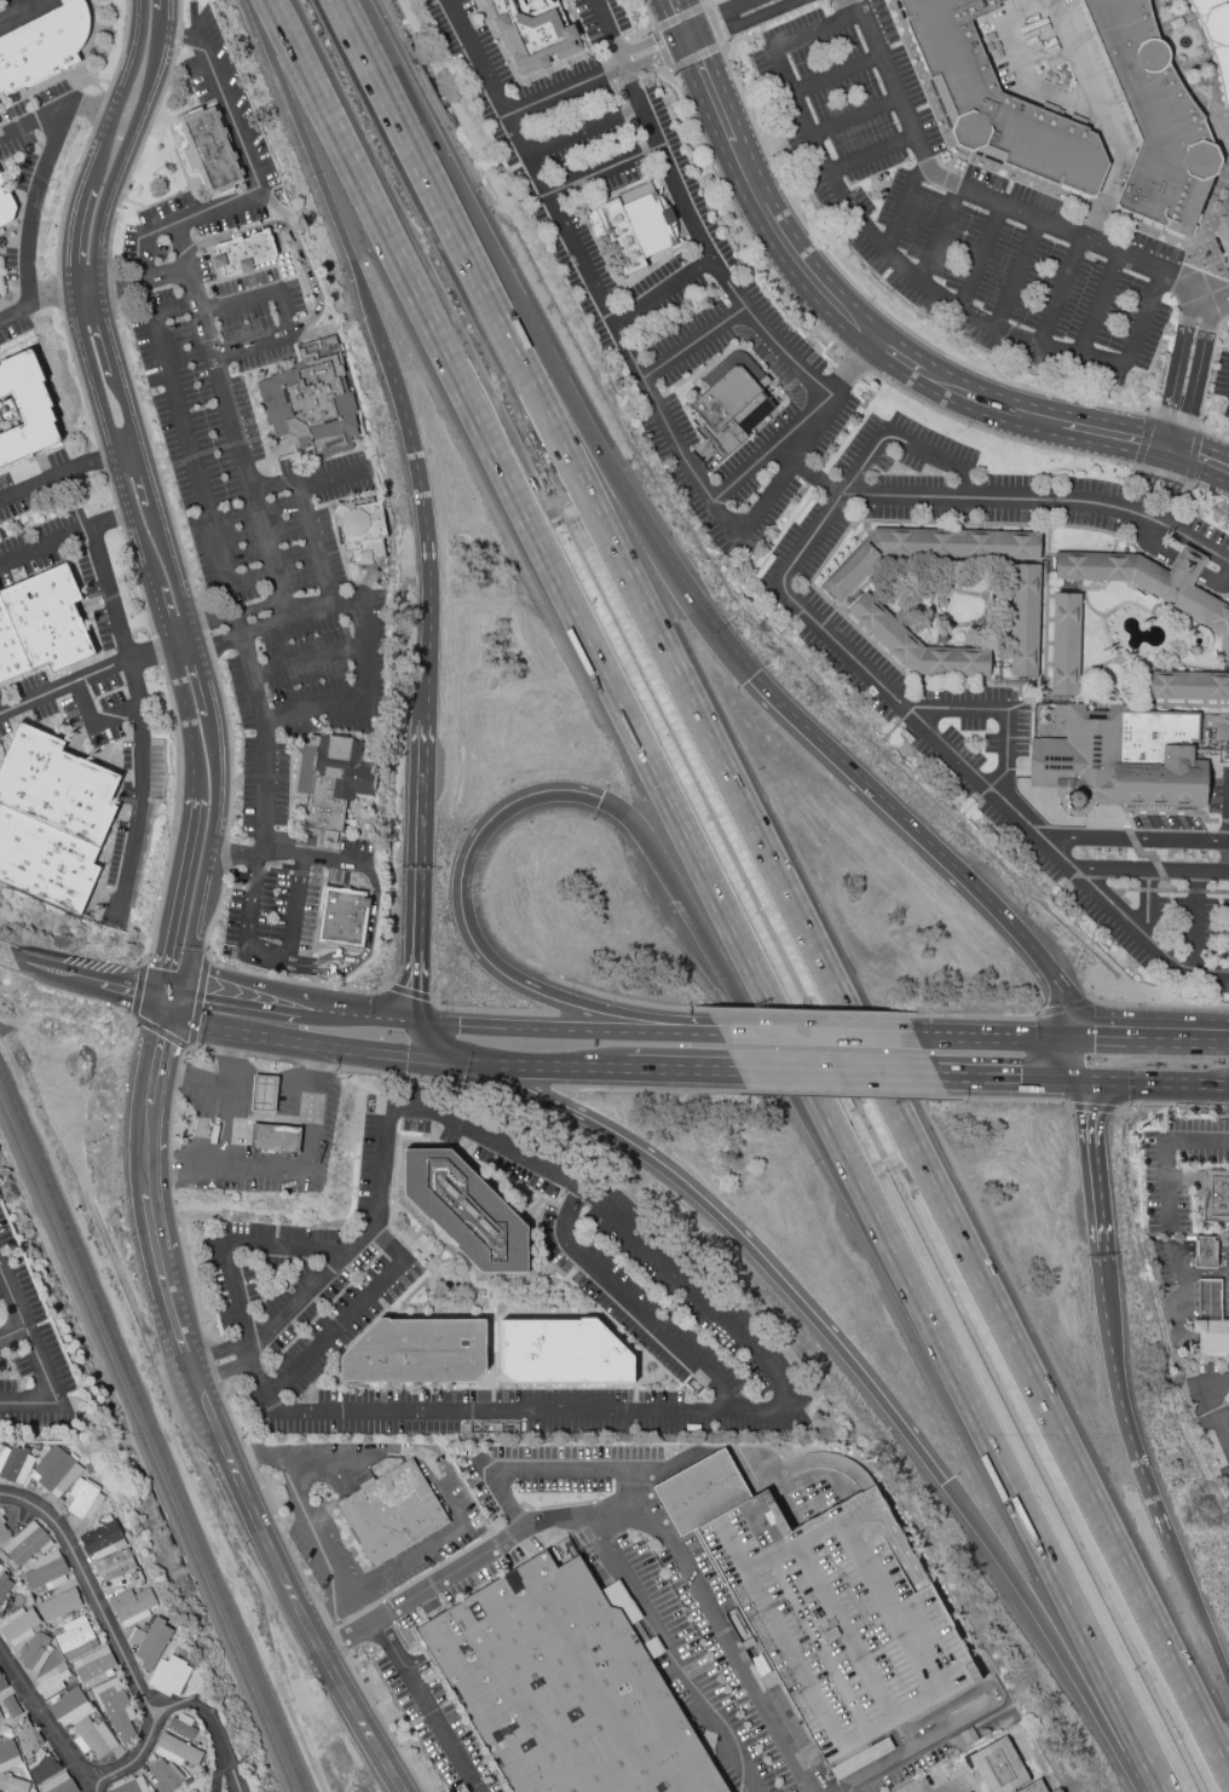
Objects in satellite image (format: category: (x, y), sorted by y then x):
parking lot: (711, 0)
road: (711, 4)
road: (706, 5)
road: (737, 5)
road: (17, 7)
road: (24, 12)
road: (767, 16)
road: (279, 19)
road: (1066, 24)
road: (652, 28)
traffic signals: (681, 29)
road: (675, 30)
road: (610, 33)
building: (1217, 35)
building: (533, 36)
road: (180, 38)
fountain: (1183, 42)
building: (44, 47)
traffic signals: (689, 48)
road: (682, 51)
road: (478, 58)
road: (627, 58)
road: (150, 64)
road: (629, 68)
parking lot: (1058, 69)
road: (837, 74)
road: (1196, 74)
road: (565, 91)
building: (997, 100)
road: (85, 113)
road: (856, 116)
building: (1155, 119)
road: (31, 121)
road: (583, 129)
road: (175, 144)
building: (210, 150)
road: (137, 152)
road: (435, 152)
road: (873, 154)
road: (602, 172)
road: (334, 189)
road: (173, 195)
road: (254, 195)
road: (904, 202)
road: (993, 202)
road: (36, 203)
road: (132, 203)
building: (6, 204)
parking lot: (954, 209)
road: (737, 214)
road: (1208, 227)
building: (631, 230)
road: (290, 232)
road: (939, 235)
building: (1224, 236)
road: (704, 252)
building: (243, 253)
road: (980, 258)
road: (898, 264)
road: (254, 270)
road: (1016, 275)
road: (142, 283)
road: (657, 283)
road: (108, 286)
road: (1060, 292)
road: (62, 294)
road: (1098, 304)
road: (841, 306)
road: (876, 306)
parking lot: (197, 307)
road: (15, 312)
road: (287, 315)
road: (810, 334)
road: (694, 342)
road: (1181, 351)
road: (1202, 357)
road: (856, 359)
road: (221, 362)
road: (855, 363)
parking lot: (1222, 380)
road: (1206, 386)
building: (312, 401)
building: (25, 409)
building: (729, 411)
road: (1177, 420)
road: (232, 422)
road: (1162, 434)
road: (1144, 439)
road: (1183, 440)
road: (215, 448)
road: (679, 448)
road: (771, 448)
road: (1045, 448)
road: (265, 450)
road: (187, 451)
road: (1169, 454)
road: (781, 455)
road: (1194, 455)
traffic signals: (1178, 457)
road: (104, 460)
road: (155, 460)
road: (1155, 461)
road: (1204, 466)
road: (1175, 467)
road: (165, 471)
road: (331, 479)
road: (36, 484)
road: (273, 485)
road: (1143, 491)
road: (296, 492)
road: (627, 496)
road: (123, 497)
road: (1164, 500)
road: (109, 520)
road: (425, 526)
building: (360, 530)
road: (313, 543)
road: (45, 546)
building: (928, 552)
road: (827, 558)
road: (171, 561)
building: (1152, 582)
road: (109, 593)
road: (789, 595)
road: (1221, 595)
road: (1046, 604)
road: (235, 613)
road: (299, 617)
building: (1026, 621)
road: (1167, 622)
building: (41, 624)
road: (206, 636)
road: (215, 643)
building: (918, 645)
building: (1067, 645)
road: (161, 650)
road: (359, 652)
road: (1115, 658)
road: (305, 661)
road: (223, 678)
traffic signals: (750, 678)
road: (133, 682)
road: (1032, 682)
road: (1019, 684)
road: (63, 685)
building: (1187, 686)
parking lot: (940, 701)
road: (1155, 702)
road: (1003, 709)
road: (310, 710)
road: (93, 722)
road: (229, 751)
building: (1123, 760)
road: (1040, 764)
road: (235, 778)
building: (329, 780)
parking lot: (265, 785)
traffic signals: (601, 797)
road: (264, 806)
road: (1166, 812)
road: (137, 813)
road: (1121, 817)
building: (52, 819)
road: (1074, 820)
road: (1219, 820)
road: (175, 822)
road: (420, 835)
road: (1131, 839)
road: (1135, 839)
road: (925, 847)
road: (233, 852)
road: (1147, 854)
road: (313, 855)
road: (221, 859)
road: (273, 869)
road: (1150, 870)
road: (1159, 871)
road: (785, 885)
road: (227, 886)
road: (1167, 886)
road: (1125, 889)
road: (1147, 891)
road: (1172, 892)
road: (1196, 892)
road: (1217, 893)
road: (1147, 904)
road: (1198, 907)
road: (295, 909)
road: (731, 915)
building: (344, 918)
parking lot: (1225, 928)
road: (473, 943)
road: (368, 949)
road: (8, 956)
road: (722, 967)
road: (56, 969)
road: (334, 970)
road: (255, 973)
road: (411, 985)
road: (134, 991)
road: (542, 991)
road: (410, 992)
traffic signals: (175, 1001)
road: (624, 1001)
road: (237, 1004)
road: (1066, 1007)
road: (1156, 1007)
road: (481, 1010)
road: (804, 1014)
road: (353, 1015)
road: (132, 1018)
road: (975, 1018)
traffic signals: (408, 1021)
road: (247, 1025)
road: (554, 1026)
road: (710, 1030)
road: (15, 1031)
road: (818, 1033)
road: (991, 1037)
traffic signals: (1066, 1038)
road: (426, 1041)
road: (1147, 1041)
road: (175, 1042)
road: (194, 1048)
road: (227, 1051)
road: (382, 1054)
road: (1066, 1056)
road: (272, 1058)
traffic signals: (444, 1061)
road: (533, 1064)
road: (317, 1065)
road: (680, 1067)
road: (837, 1071)
road: (1002, 1074)
road: (178, 1076)
traffic signals: (1066, 1076)
road: (1103, 1077)
road: (1185, 1081)
road: (449, 1083)
road: (651, 1089)
building: (262, 1090)
gas station: (262, 1090)
road: (227, 1093)
road: (848, 1094)
road: (1010, 1100)
road: (1172, 1104)
road: (1094, 1107)
road: (265, 1114)
road: (172, 1119)
parking lot: (304, 1122)
building: (275, 1137)
road: (1165, 1152)
road: (1092, 1158)
road: (255, 1166)
road: (169, 1168)
parking lot: (1178, 1169)
building: (1212, 1192)
building: (466, 1210)
road: (731, 1226)
road: (1205, 1249)
road: (1223, 1250)
building: (1205, 1251)
parking lot: (1164, 1264)
road: (186, 1268)
road: (1184, 1274)
road: (689, 1287)
building: (1208, 1300)
road: (295, 1303)
road: (634, 1306)
road: (350, 1310)
road: (11, 1331)
building: (1211, 1336)
road: (27, 1337)
road: (218, 1352)
building: (417, 1352)
building: (562, 1353)
parking lot: (29, 1354)
road: (212, 1365)
road: (225, 1372)
road: (1117, 1391)
road: (28, 1404)
road: (1218, 1405)
parking lot: (1212, 1410)
road: (212, 1414)
road: (230, 1414)
railway: (152, 1431)
railway: (146, 1445)
road: (248, 1458)
building: (15, 1464)
building: (56, 1471)
road: (601, 1471)
traffic signals: (947, 1482)
building: (702, 1493)
building: (82, 1499)
road: (619, 1504)
road: (968, 1510)
building: (391, 1511)
building: (4, 1532)
building: (102, 1538)
road: (283, 1538)
building: (24, 1545)
road: (412, 1557)
building: (114, 1565)
building: (1, 1566)
building: (46, 1572)
building: (4, 1584)
building: (58, 1604)
building: (131, 1606)
road: (1196, 1606)
road: (327, 1611)
road: (322, 1618)
building: (841, 1618)
parking garage: (841, 1618)
road: (657, 1619)
building: (18, 1625)
road: (330, 1632)
road: (112, 1635)
building: (74, 1638)
building: (150, 1642)
road: (337, 1646)
building: (34, 1652)
building: (94, 1666)
road: (1072, 1671)
building: (566, 1686)
building: (60, 1695)
building: (10, 1706)
road: (426, 1706)
building: (115, 1711)
road: (968, 1717)
road: (46, 1721)
road: (208, 1724)
road: (383, 1724)
building: (962, 1739)
building: (177, 1751)
building: (7, 1754)
building: (40, 1759)
building: (999, 1768)
building: (163, 1775)
road: (229, 1776)
building: (12, 1785)
building: (128, 1785)
building: (1034, 1787)
road: (950, 1790)
building: (192, 1791)

